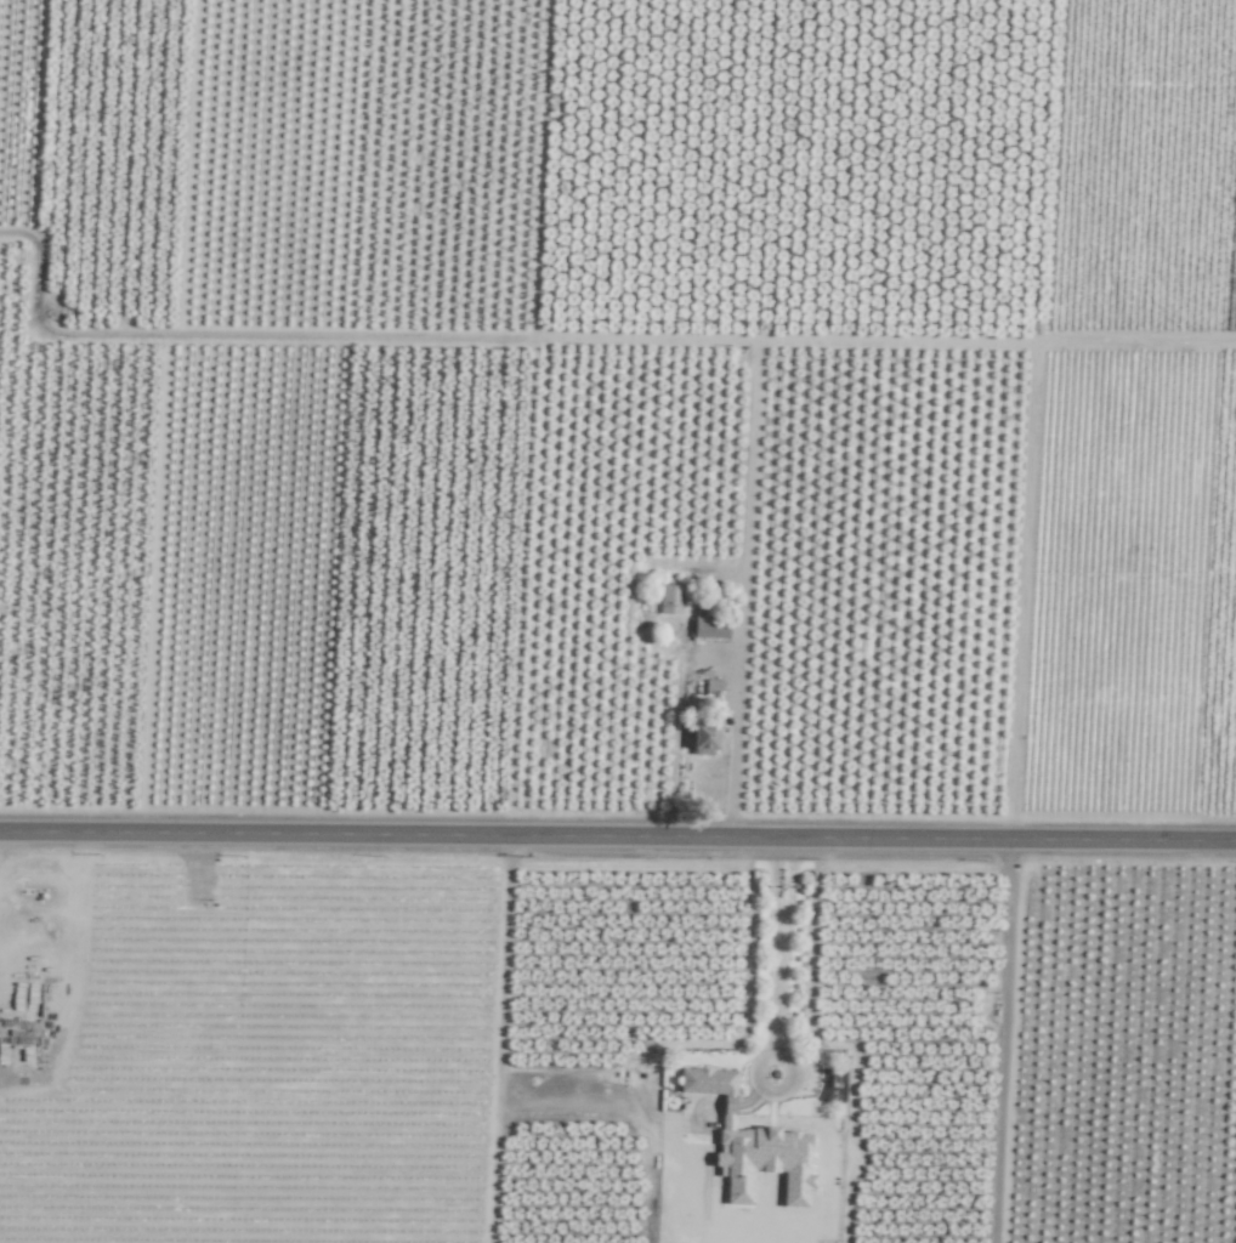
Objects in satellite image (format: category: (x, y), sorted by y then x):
road: (742, 589)
building: (669, 598)
building: (711, 685)
building: (703, 738)
road: (618, 838)
road: (778, 961)
road: (78, 977)
building: (708, 1082)

